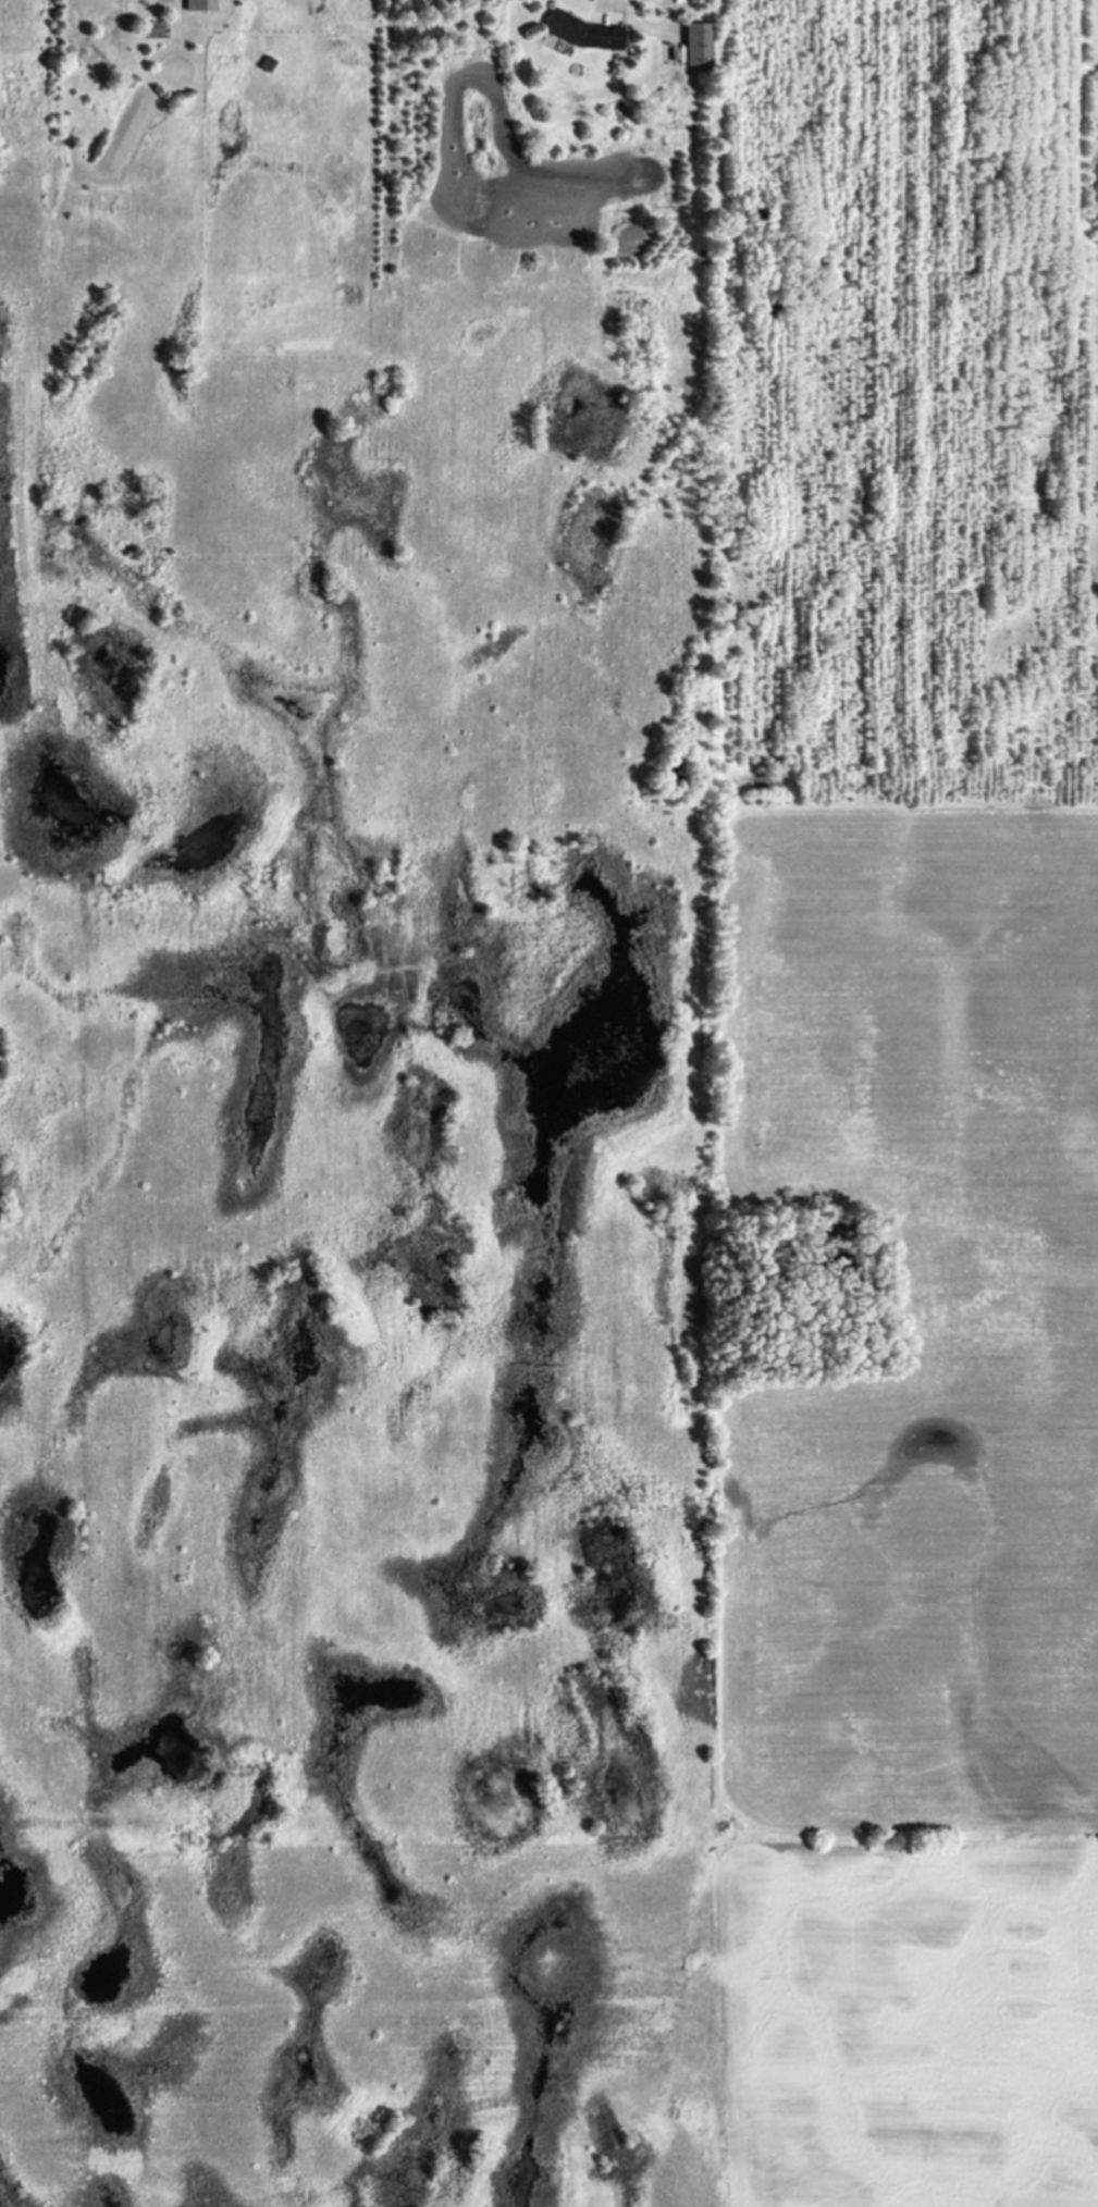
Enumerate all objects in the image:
road: (619, 2)
building: (587, 33)
building: (701, 45)

